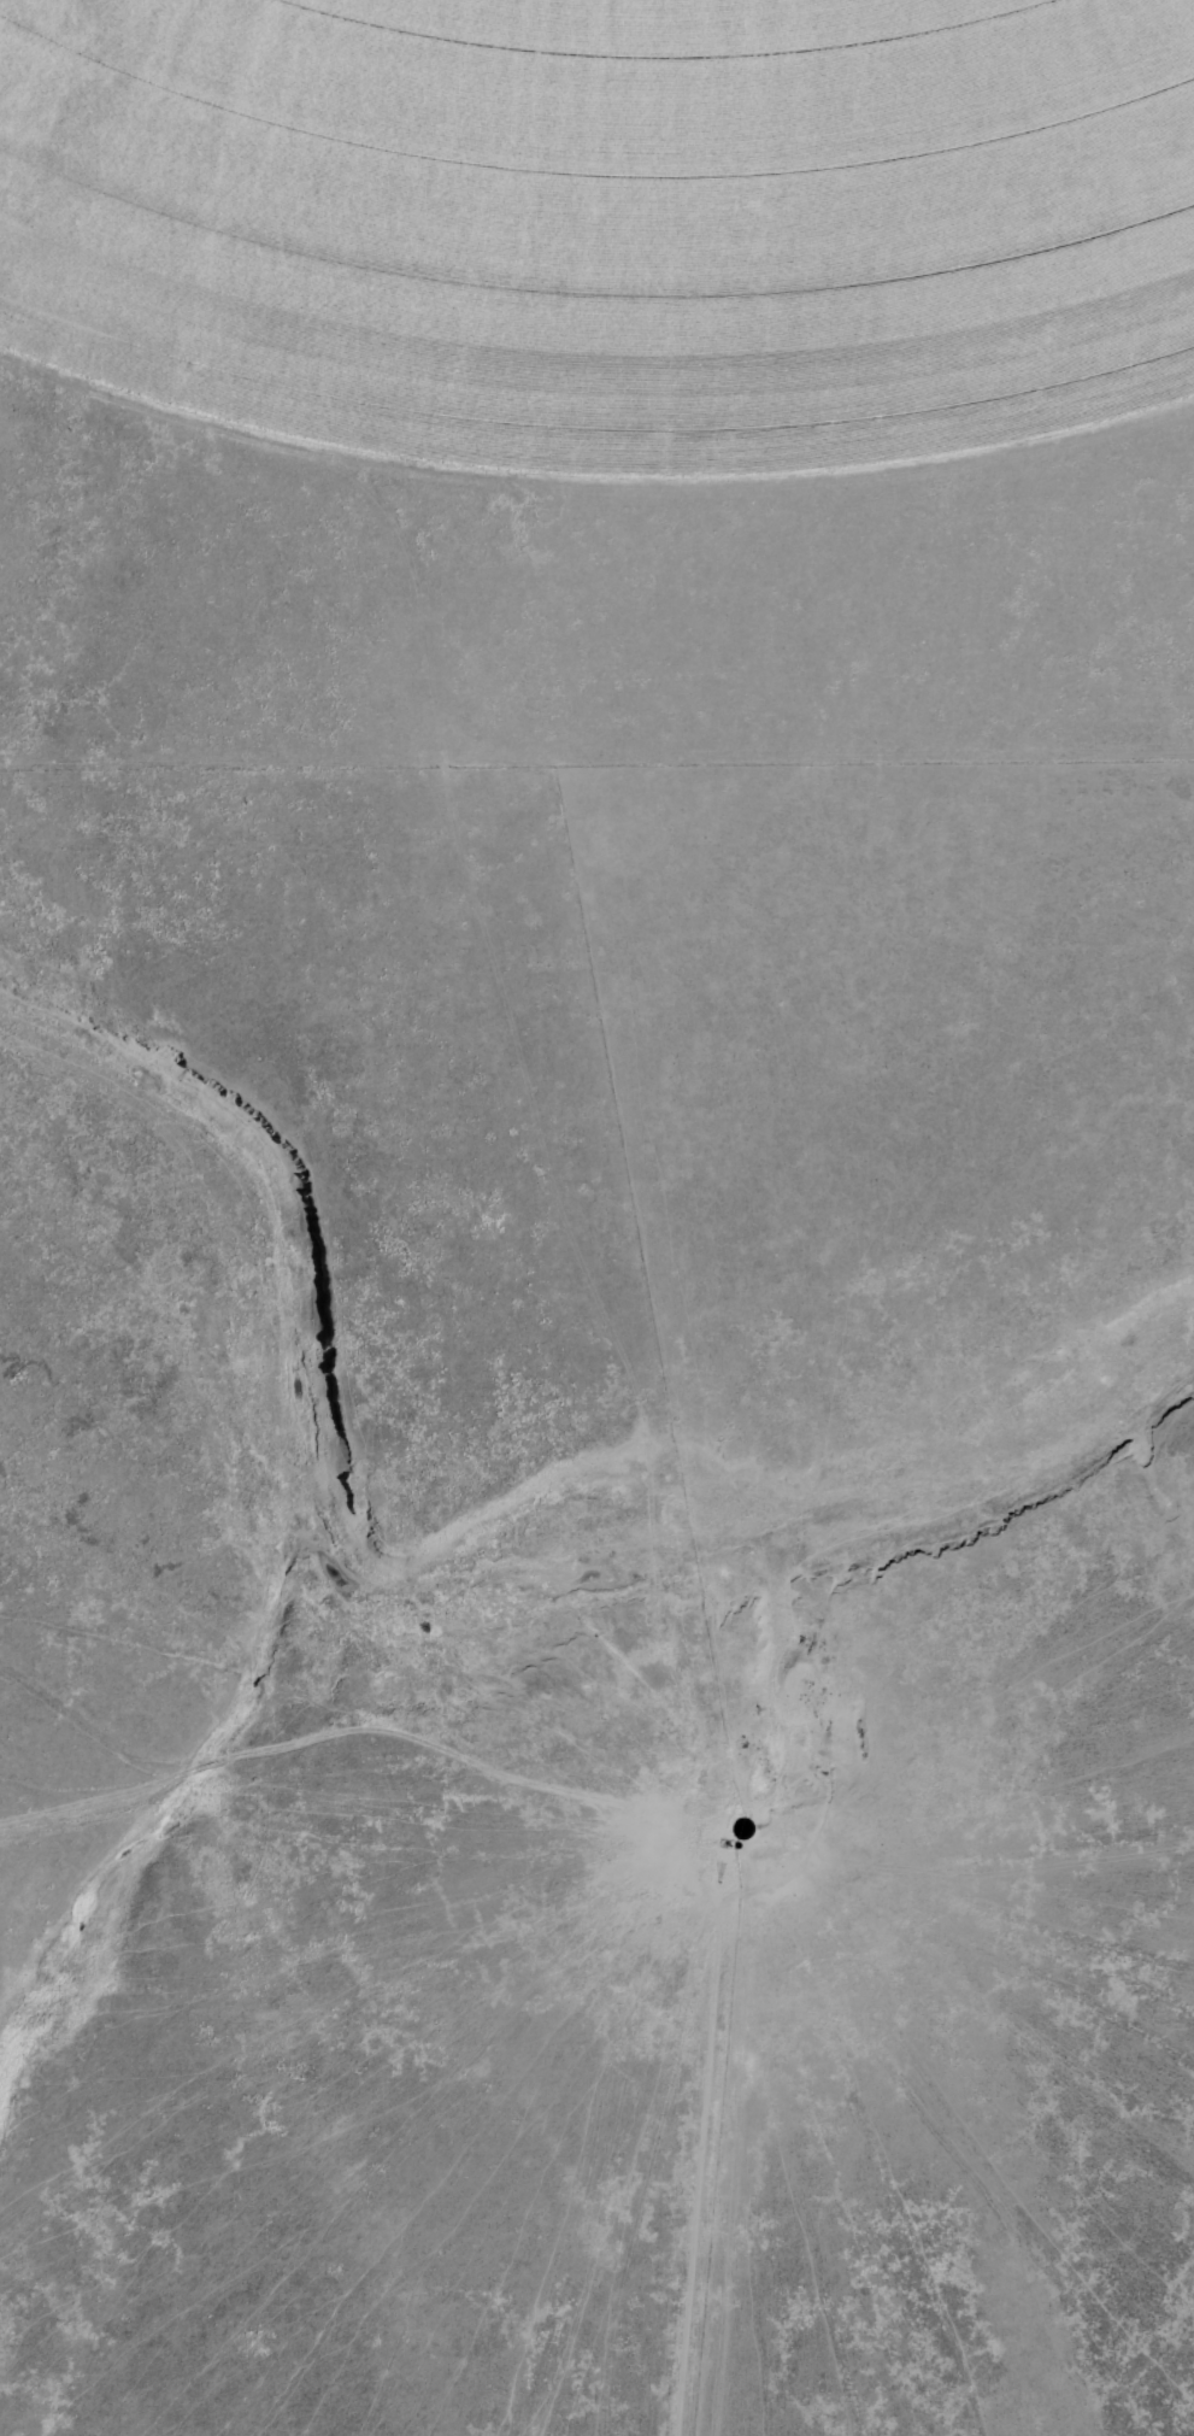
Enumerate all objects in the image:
crop: (620, 212)

